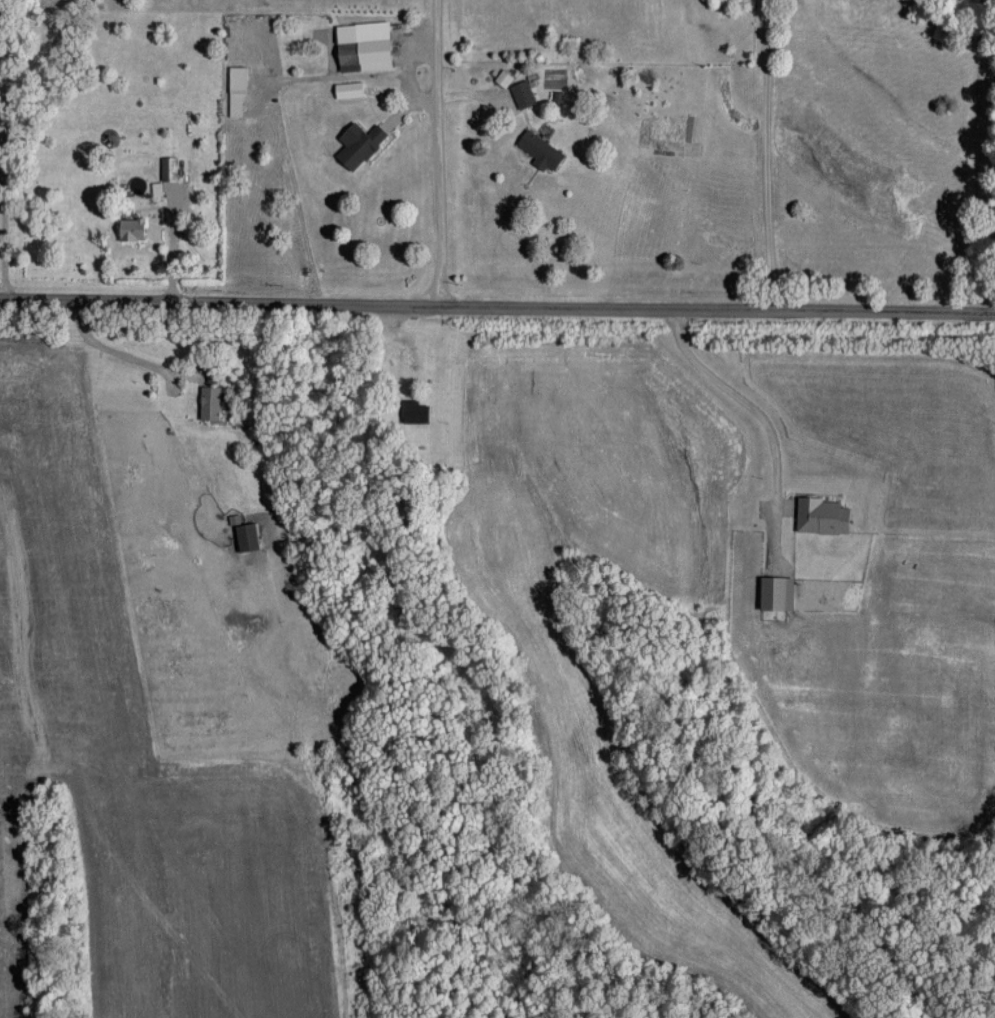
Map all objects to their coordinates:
building: (362, 45)
building: (503, 77)
building: (348, 88)
building: (236, 90)
building: (522, 93)
building: (358, 143)
building: (540, 150)
road: (440, 153)
road: (769, 155)
road: (980, 155)
building: (168, 167)
building: (130, 228)
road: (5, 244)
road: (172, 244)
road: (497, 306)
road: (116, 350)
road: (743, 398)
building: (209, 402)
building: (414, 410)
building: (821, 515)
building: (245, 535)
building: (775, 592)

